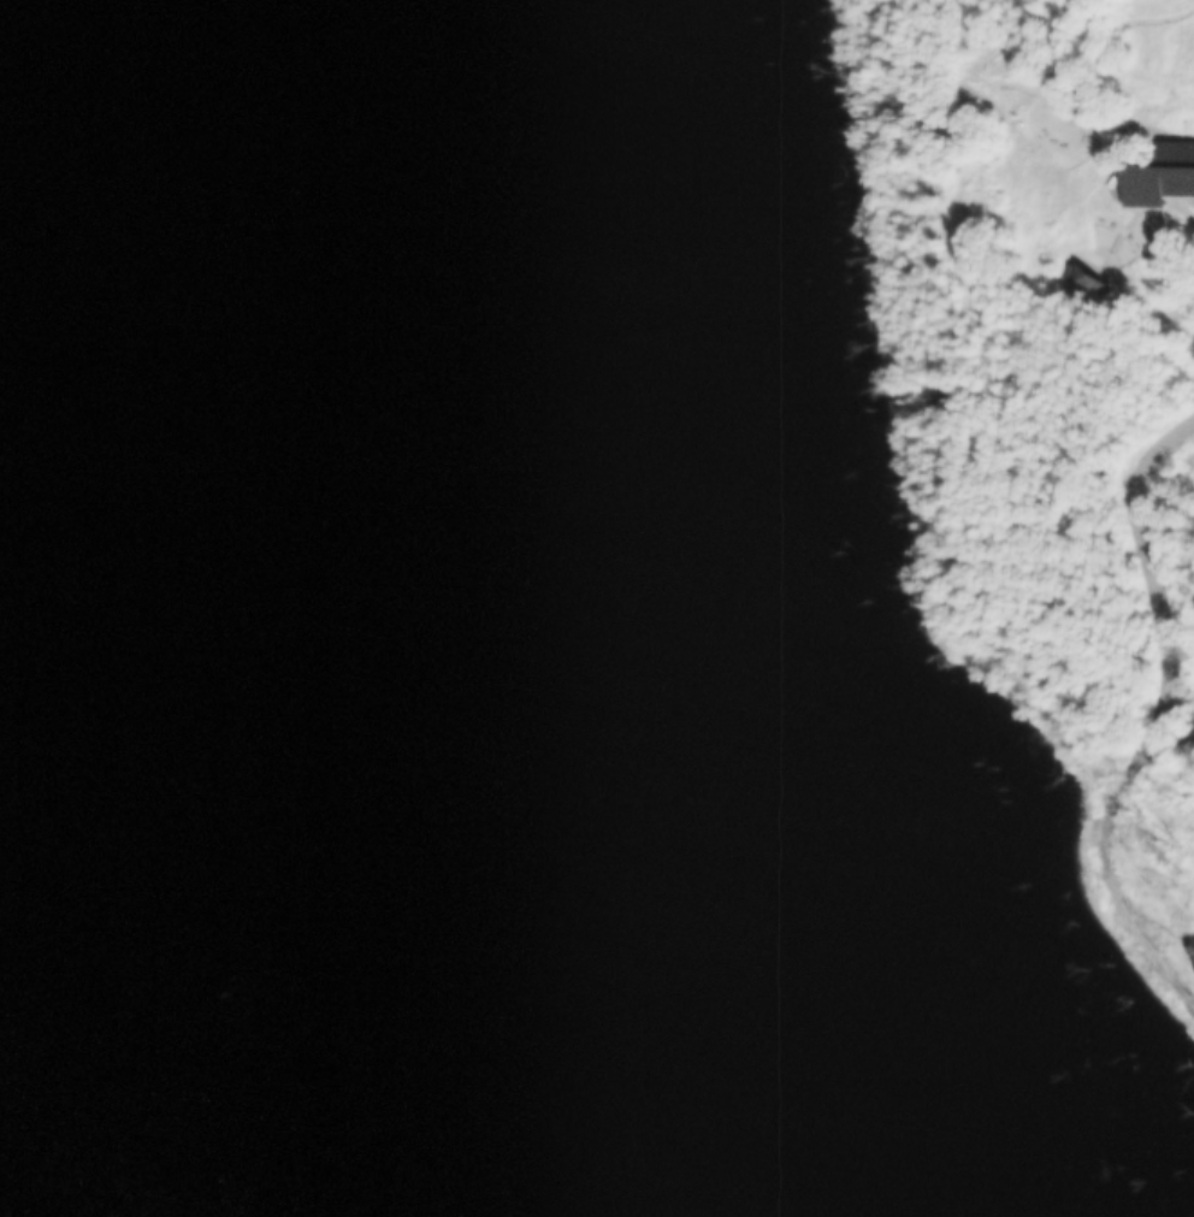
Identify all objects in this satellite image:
road: (930, 160)
building: (1162, 173)
road: (1176, 199)
road: (1117, 235)
road: (1066, 254)
building: (1084, 279)
building: (928, 392)
road: (1146, 568)
road: (1177, 704)
road: (1165, 737)
road: (1101, 884)
road: (1174, 956)

